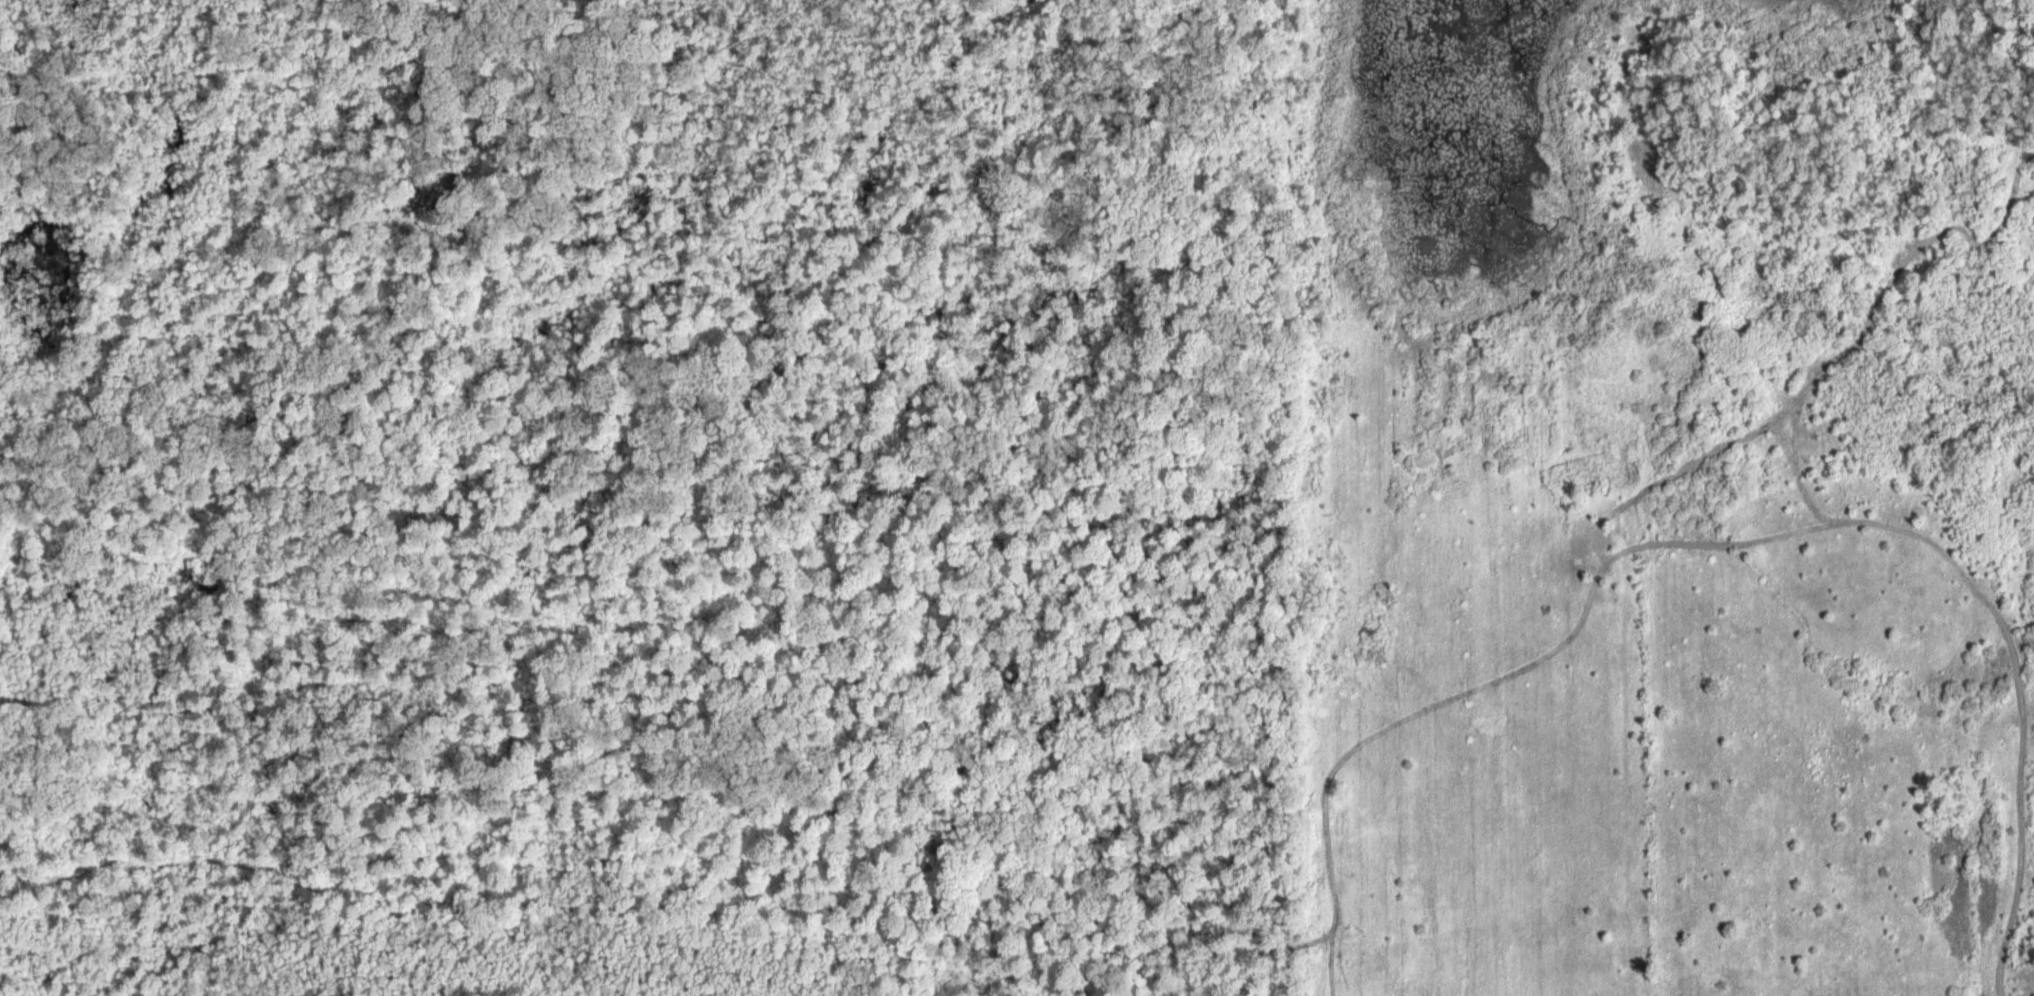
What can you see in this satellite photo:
road: (7, 887)

